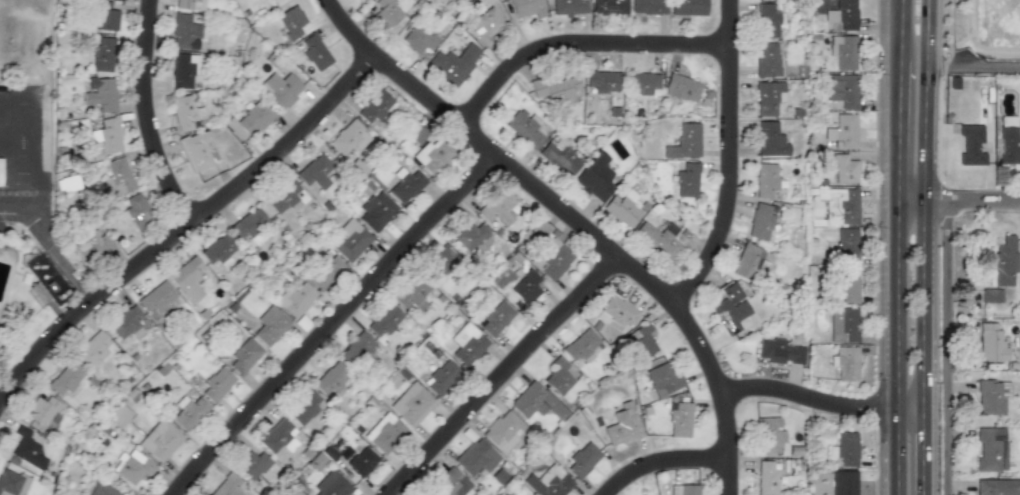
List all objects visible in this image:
building: (359, 0)
building: (189, 4)
building: (569, 7)
building: (610, 7)
building: (648, 7)
building: (688, 7)
building: (528, 8)
building: (390, 10)
building: (843, 15)
building: (103, 16)
building: (768, 20)
park: (1012, 21)
building: (291, 22)
building: (485, 26)
road: (901, 29)
building: (185, 32)
road: (969, 36)
building: (418, 38)
park: (25, 42)
road: (577, 49)
building: (314, 52)
building: (844, 52)
building: (766, 59)
building: (454, 64)
building: (184, 70)
building: (603, 81)
building: (642, 83)
building: (555, 86)
building: (681, 88)
building: (279, 89)
building: (842, 90)
building: (769, 98)
building: (375, 108)
building: (187, 112)
road: (147, 117)
building: (249, 120)
building: (527, 128)
building: (846, 130)
road: (899, 130)
building: (107, 135)
building: (349, 138)
building: (770, 140)
building: (686, 142)
building: (970, 145)
building: (1008, 145)
building: (196, 151)
building: (434, 155)
building: (559, 158)
road: (726, 163)
building: (844, 169)
building: (315, 172)
building: (117, 178)
building: (594, 180)
building: (687, 180)
building: (766, 180)
building: (67, 181)
building: (405, 185)
building: (282, 196)
road: (958, 201)
road: (923, 204)
building: (834, 209)
building: (135, 210)
building: (496, 210)
building: (376, 211)
building: (622, 211)
building: (760, 221)
road: (570, 222)
building: (248, 223)
road: (185, 231)
building: (469, 235)
building: (659, 238)
building: (349, 240)
building: (98, 242)
building: (846, 245)
road: (54, 247)
building: (217, 249)
building: (441, 259)
building: (551, 259)
building: (747, 261)
building: (1003, 261)
building: (324, 271)
building: (189, 279)
building: (847, 284)
building: (525, 287)
building: (411, 293)
building: (991, 295)
building: (295, 299)
building: (159, 300)
road: (897, 305)
building: (728, 310)
building: (618, 311)
building: (495, 318)
building: (383, 321)
building: (127, 323)
road: (334, 325)
building: (842, 325)
building: (270, 326)
building: (991, 341)
building: (640, 343)
building: (467, 344)
building: (580, 347)
building: (95, 349)
building: (358, 351)
building: (778, 352)
building: (244, 356)
building: (846, 364)
building: (560, 375)
road: (501, 376)
building: (440, 377)
building: (66, 378)
building: (331, 378)
building: (663, 380)
building: (217, 384)
building: (989, 398)
road: (807, 399)
building: (535, 402)
building: (412, 404)
building: (303, 408)
road: (910, 409)
building: (43, 411)
building: (188, 411)
building: (680, 420)
building: (623, 425)
building: (503, 431)
building: (384, 433)
building: (276, 436)
building: (770, 436)
building: (160, 440)
building: (29, 448)
building: (845, 449)
road: (897, 452)
road: (922, 452)
building: (476, 458)
building: (581, 460)
building: (361, 461)
building: (252, 464)
road: (666, 464)
building: (133, 467)
building: (767, 478)
building: (548, 482)
building: (13, 483)
building: (844, 483)
building: (451, 484)
building: (228, 486)
building: (332, 486)
building: (997, 487)
building: (688, 489)
building: (102, 490)
building: (423, 494)

